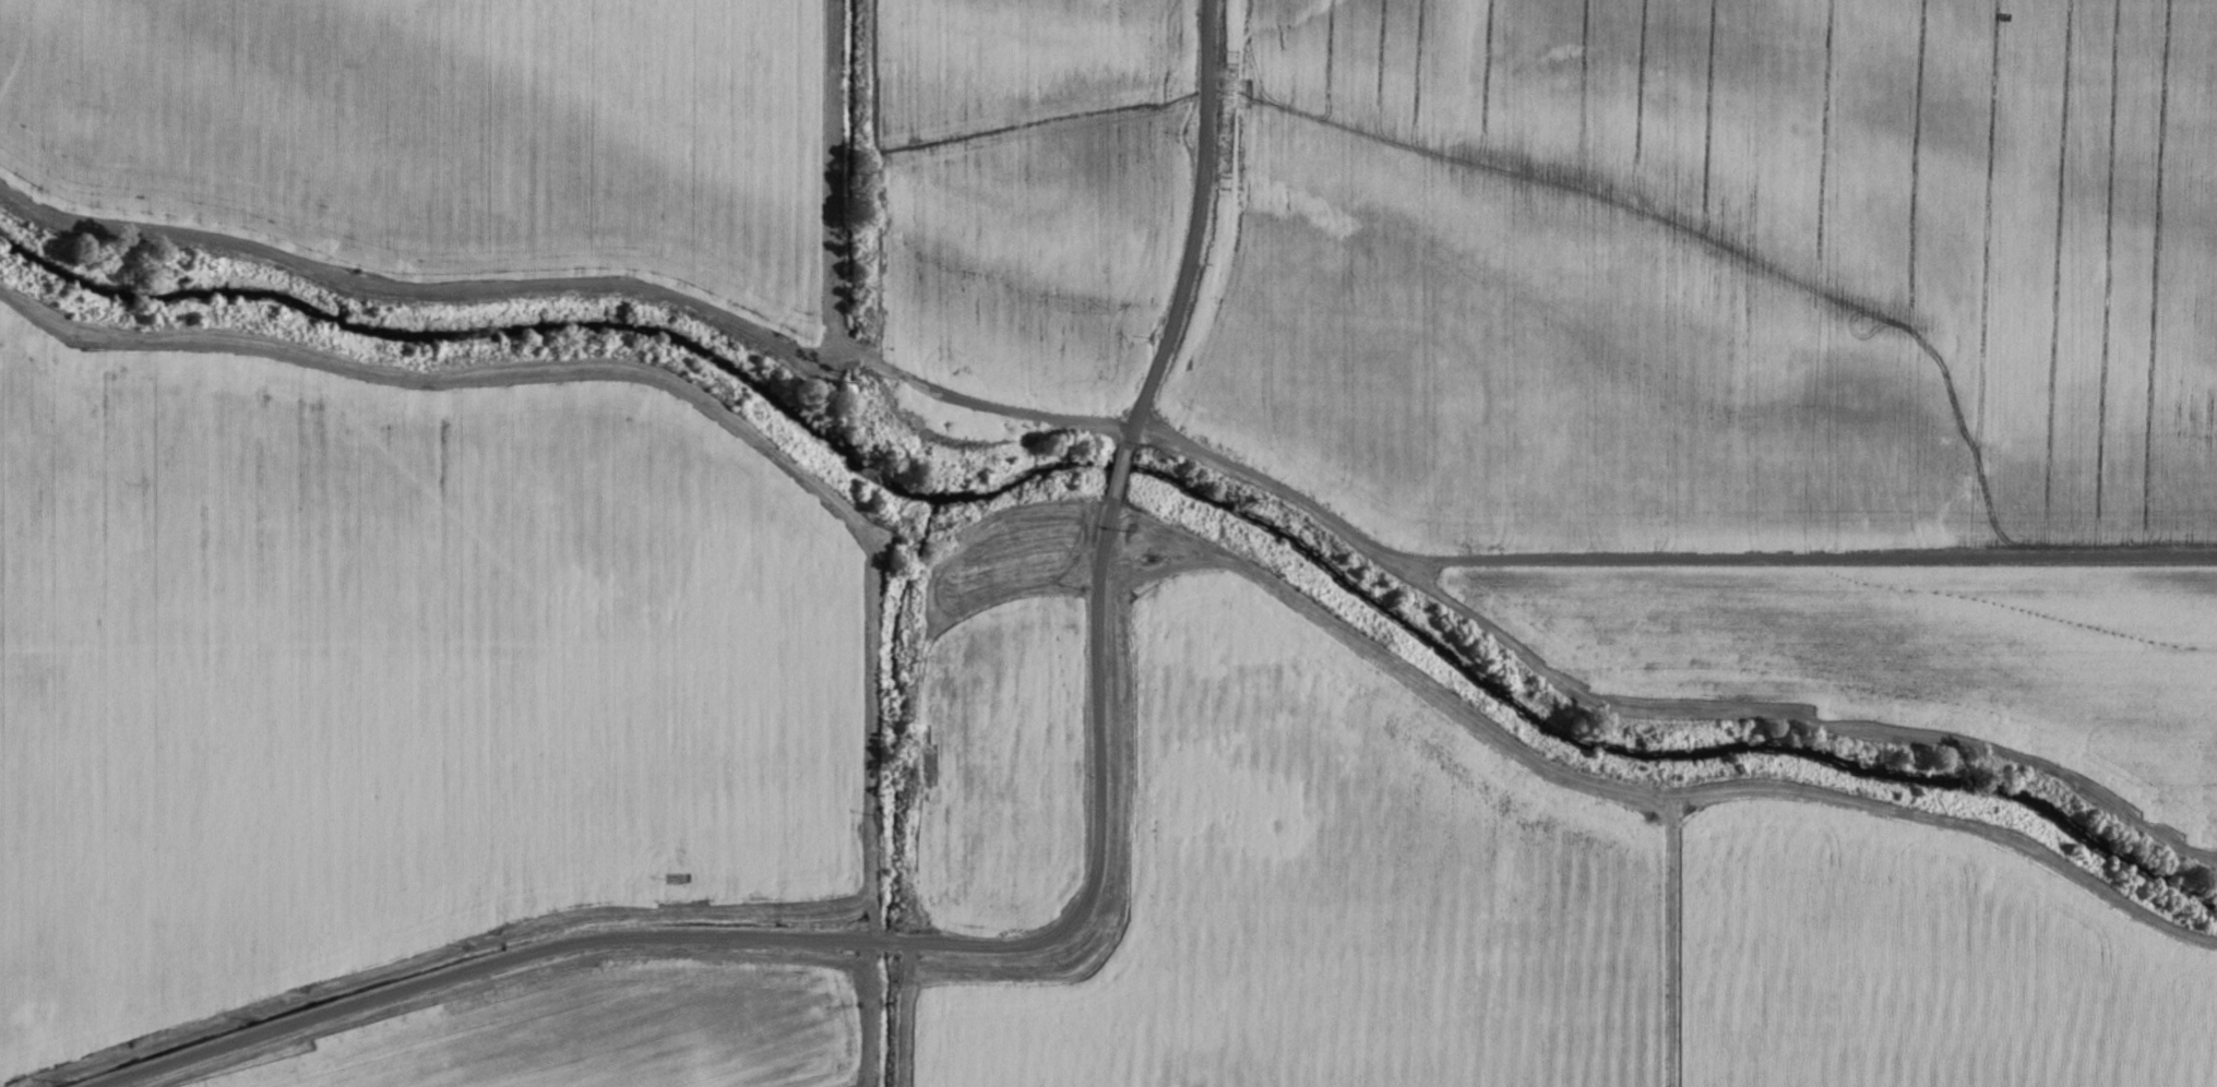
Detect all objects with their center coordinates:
road: (1051, 939)

